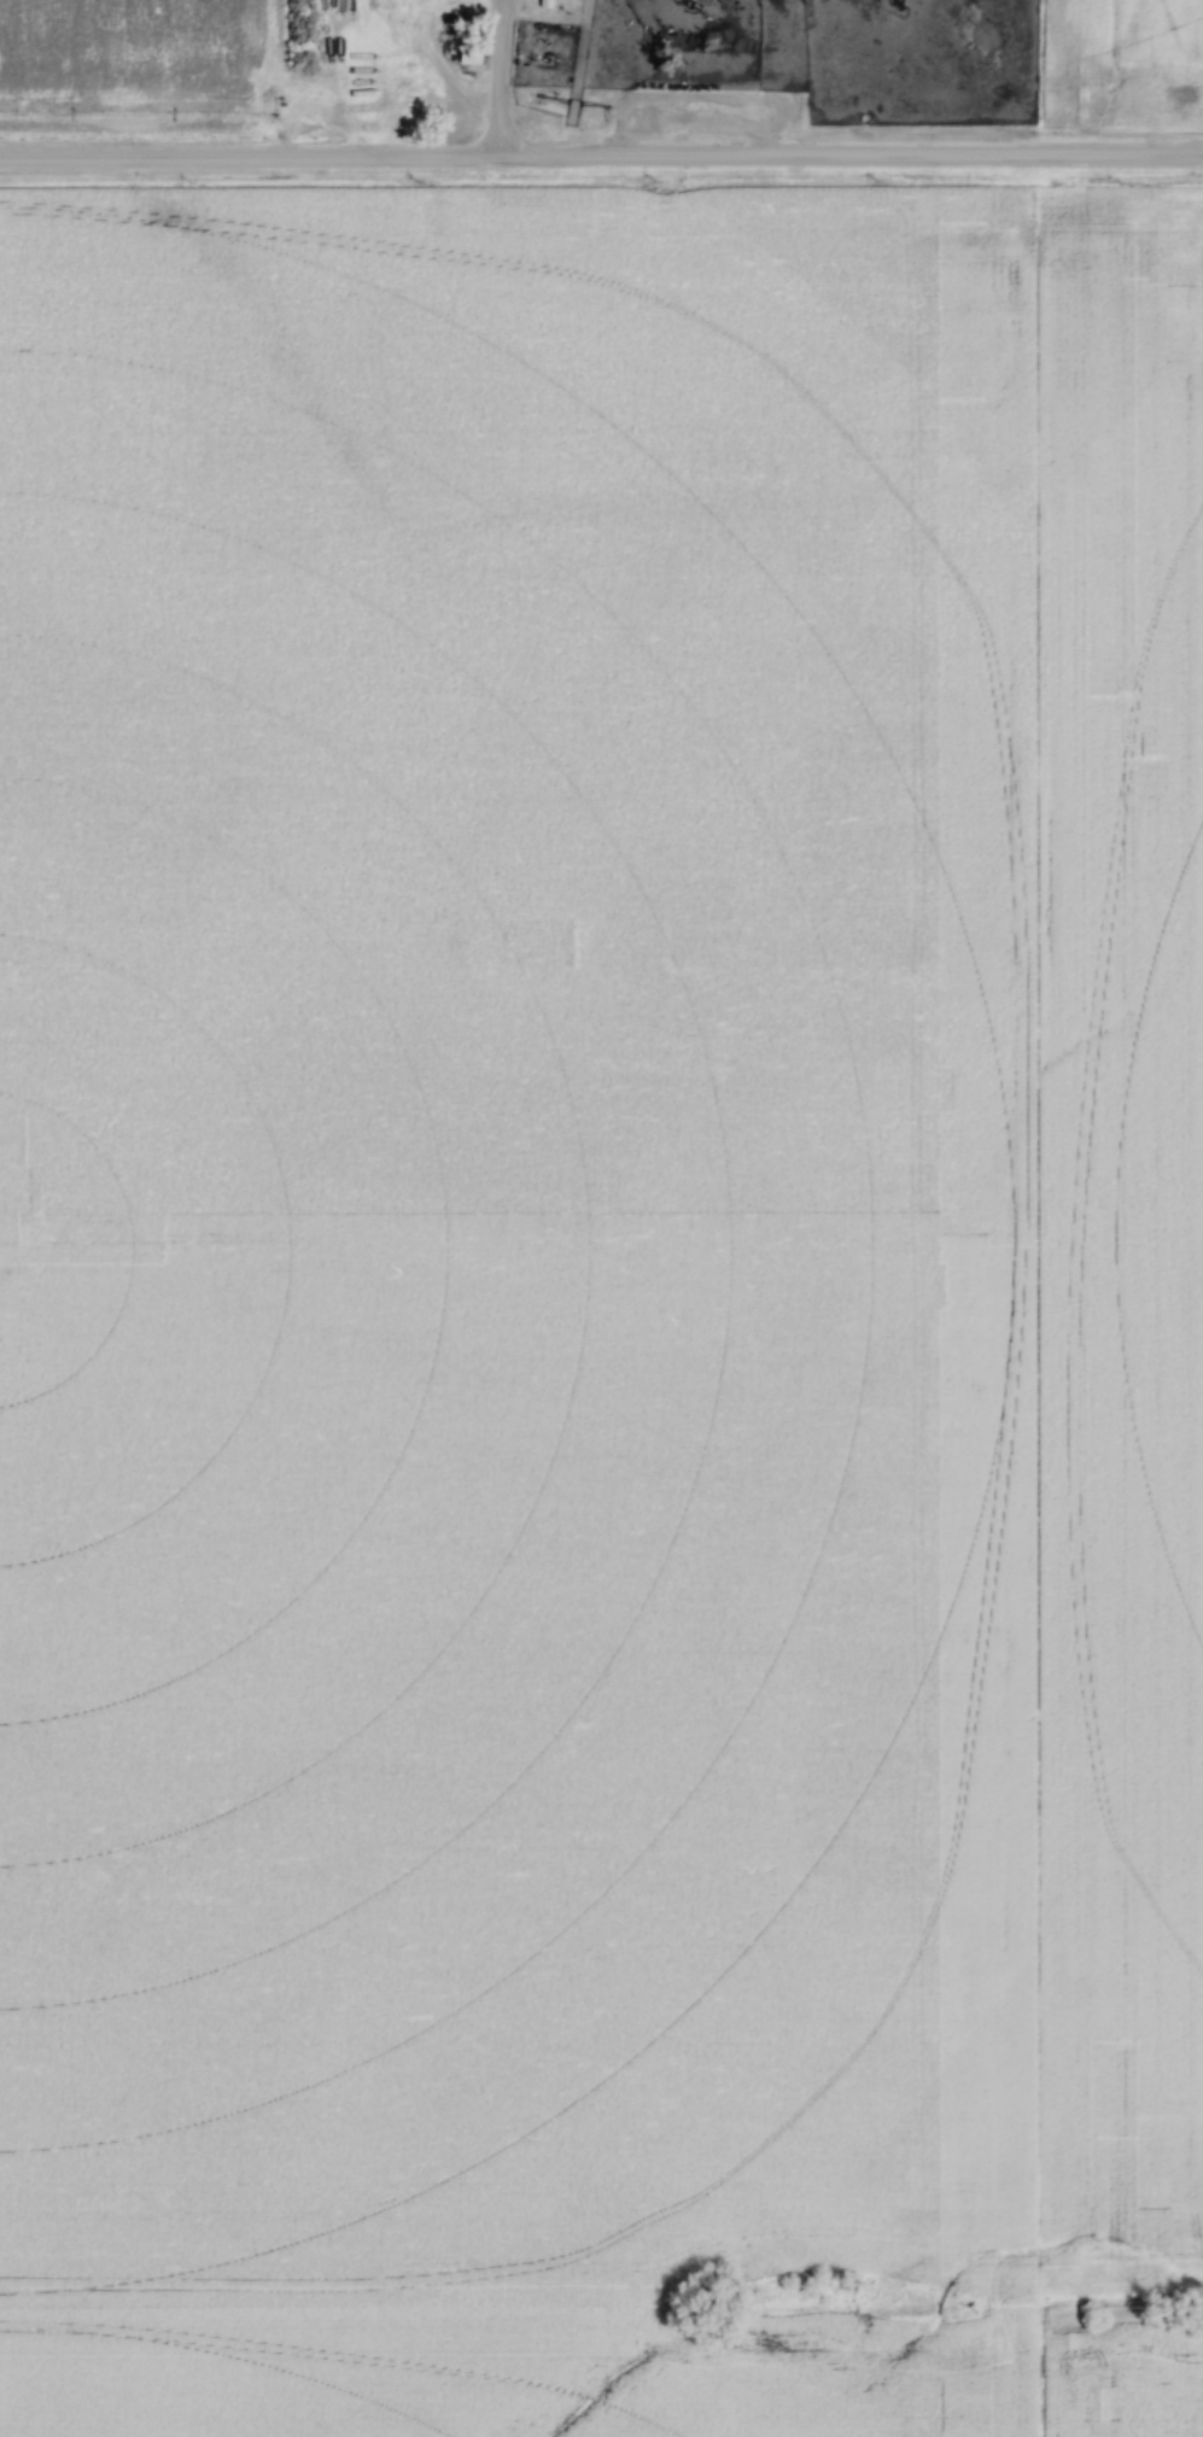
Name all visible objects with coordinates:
building: (403, 45)
building: (471, 57)
building: (391, 66)
road: (643, 75)
road: (496, 78)
building: (405, 87)
road: (601, 157)

